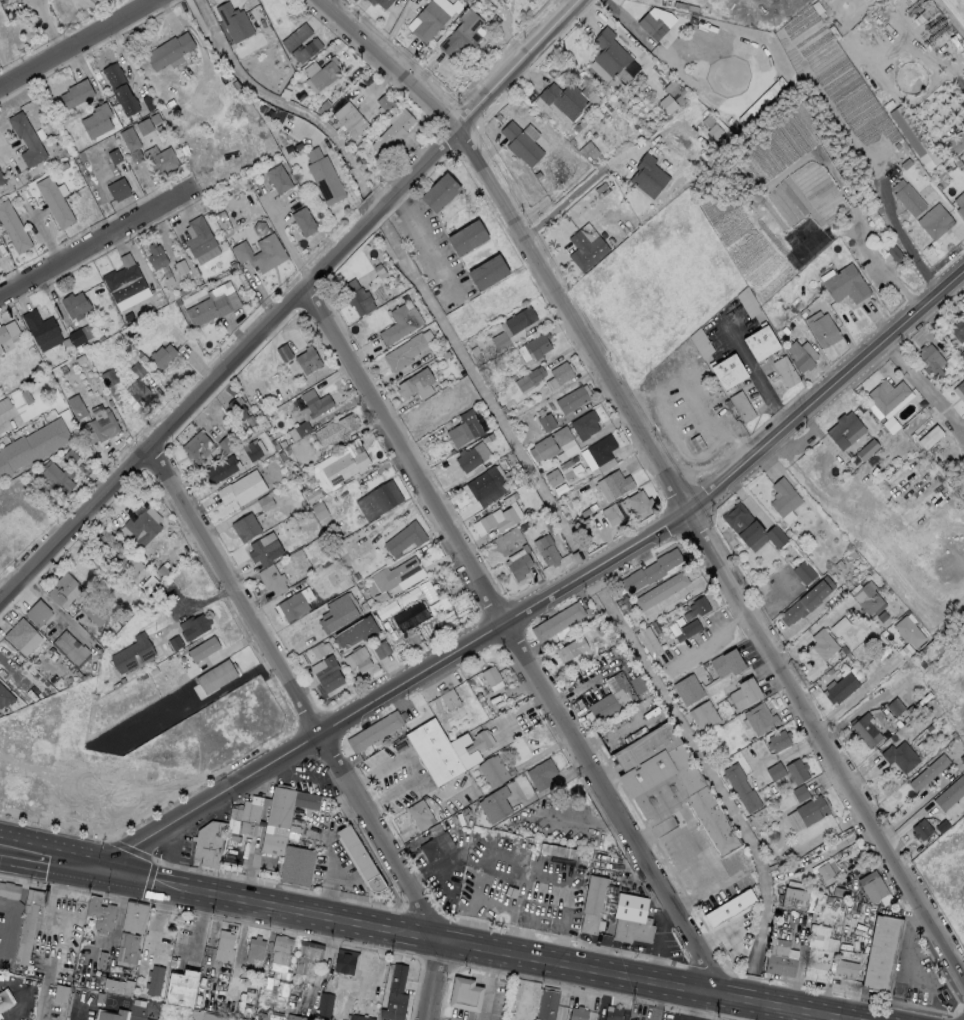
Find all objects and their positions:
building: (380, 3)
building: (432, 17)
building: (233, 20)
building: (652, 26)
building: (295, 36)
building: (462, 38)
road: (79, 42)
building: (169, 51)
building: (305, 51)
building: (609, 53)
building: (325, 74)
building: (120, 89)
building: (76, 94)
building: (673, 95)
building: (568, 98)
building: (385, 102)
building: (350, 120)
building: (96, 121)
building: (144, 126)
building: (393, 130)
building: (914, 137)
building: (129, 138)
building: (26, 140)
building: (956, 142)
building: (520, 144)
building: (114, 156)
building: (162, 163)
building: (653, 172)
building: (324, 177)
building: (1, 179)
building: (278, 179)
building: (117, 189)
road: (576, 191)
building: (440, 193)
building: (908, 196)
building: (54, 202)
building: (960, 204)
building: (934, 221)
building: (303, 222)
building: (13, 228)
building: (198, 237)
road: (286, 238)
building: (467, 239)
road: (47, 240)
road: (423, 240)
road: (92, 250)
building: (585, 250)
building: (888, 251)
building: (260, 253)
building: (156, 256)
building: (487, 273)
building: (123, 279)
building: (845, 285)
building: (356, 297)
road: (289, 301)
building: (74, 305)
building: (213, 305)
building: (519, 320)
building: (400, 324)
building: (39, 327)
building: (822, 329)
building: (957, 330)
building: (3, 334)
building: (80, 335)
building: (761, 343)
building: (534, 347)
building: (1, 350)
building: (406, 350)
building: (283, 352)
building: (162, 356)
building: (929, 357)
building: (799, 358)
building: (308, 360)
building: (786, 371)
building: (729, 372)
building: (559, 375)
road: (756, 375)
building: (109, 378)
building: (529, 379)
building: (138, 384)
building: (413, 385)
building: (961, 387)
building: (886, 395)
building: (571, 400)
building: (315, 402)
building: (77, 406)
building: (742, 406)
building: (236, 408)
road: (5, 419)
building: (547, 422)
building: (103, 424)
building: (584, 425)
building: (301, 429)
building: (336, 430)
building: (463, 430)
building: (844, 430)
building: (930, 436)
building: (549, 444)
building: (32, 446)
building: (197, 447)
building: (569, 447)
building: (867, 449)
building: (254, 450)
building: (601, 450)
building: (471, 457)
building: (315, 465)
building: (344, 467)
building: (220, 469)
road: (661, 470)
building: (56, 477)
building: (553, 477)
building: (484, 483)
building: (616, 483)
building: (242, 488)
building: (783, 498)
building: (378, 501)
building: (639, 504)
building: (612, 514)
building: (510, 519)
building: (245, 528)
building: (750, 528)
building: (142, 529)
building: (405, 537)
building: (546, 550)
building: (264, 551)
building: (114, 558)
building: (519, 567)
building: (804, 572)
building: (652, 573)
building: (401, 574)
building: (271, 580)
building: (63, 590)
building: (660, 591)
building: (867, 598)
road: (552, 600)
building: (807, 601)
building: (295, 604)
road: (54, 607)
building: (697, 608)
building: (37, 612)
building: (339, 612)
building: (410, 616)
building: (558, 621)
building: (194, 626)
building: (687, 629)
building: (908, 631)
building: (19, 633)
building: (355, 633)
road: (716, 633)
road: (513, 636)
building: (649, 642)
building: (823, 644)
building: (570, 648)
building: (70, 649)
building: (203, 649)
building: (381, 649)
building: (135, 653)
building: (357, 659)
building: (727, 663)
building: (327, 674)
building: (217, 676)
building: (490, 676)
building: (841, 688)
building: (688, 689)
building: (744, 693)
road: (297, 695)
building: (6, 696)
road: (852, 697)
building: (449, 699)
building: (608, 705)
building: (704, 716)
building: (760, 719)
building: (865, 731)
building: (373, 732)
building: (779, 740)
building: (444, 751)
building: (958, 751)
road: (786, 753)
building: (900, 757)
road: (414, 764)
building: (492, 771)
building: (775, 771)
building: (797, 771)
building: (928, 773)
building: (542, 774)
building: (670, 784)
building: (741, 787)
building: (800, 792)
building: (950, 794)
building: (540, 804)
building: (494, 805)
building: (812, 811)
building: (269, 812)
building: (419, 815)
building: (921, 830)
building: (552, 841)
building: (208, 844)
building: (435, 847)
road: (329, 848)
building: (557, 850)
road: (50, 852)
building: (359, 859)
traffic signals: (100, 866)
building: (296, 866)
road: (250, 869)
building: (826, 875)
road: (709, 878)
building: (8, 889)
building: (874, 889)
building: (1, 899)
building: (794, 899)
building: (590, 901)
building: (729, 908)
building: (99, 912)
building: (133, 915)
building: (631, 920)
building: (27, 923)
building: (224, 943)
building: (126, 946)
road: (470, 946)
building: (254, 947)
building: (818, 954)
building: (279, 955)
building: (306, 955)
building: (881, 955)
building: (345, 962)
building: (780, 966)
building: (846, 967)
building: (153, 979)
road: (435, 980)
road: (489, 985)
building: (180, 987)
building: (463, 992)
building: (394, 994)
road: (20, 995)
building: (5, 1002)
building: (546, 1003)
building: (325, 1004)
road: (79, 1011)
building: (608, 1012)
building: (577, 1013)
building: (110, 1014)
building: (202, 1015)
building: (296, 1017)
building: (360, 1017)
road: (433, 1019)

